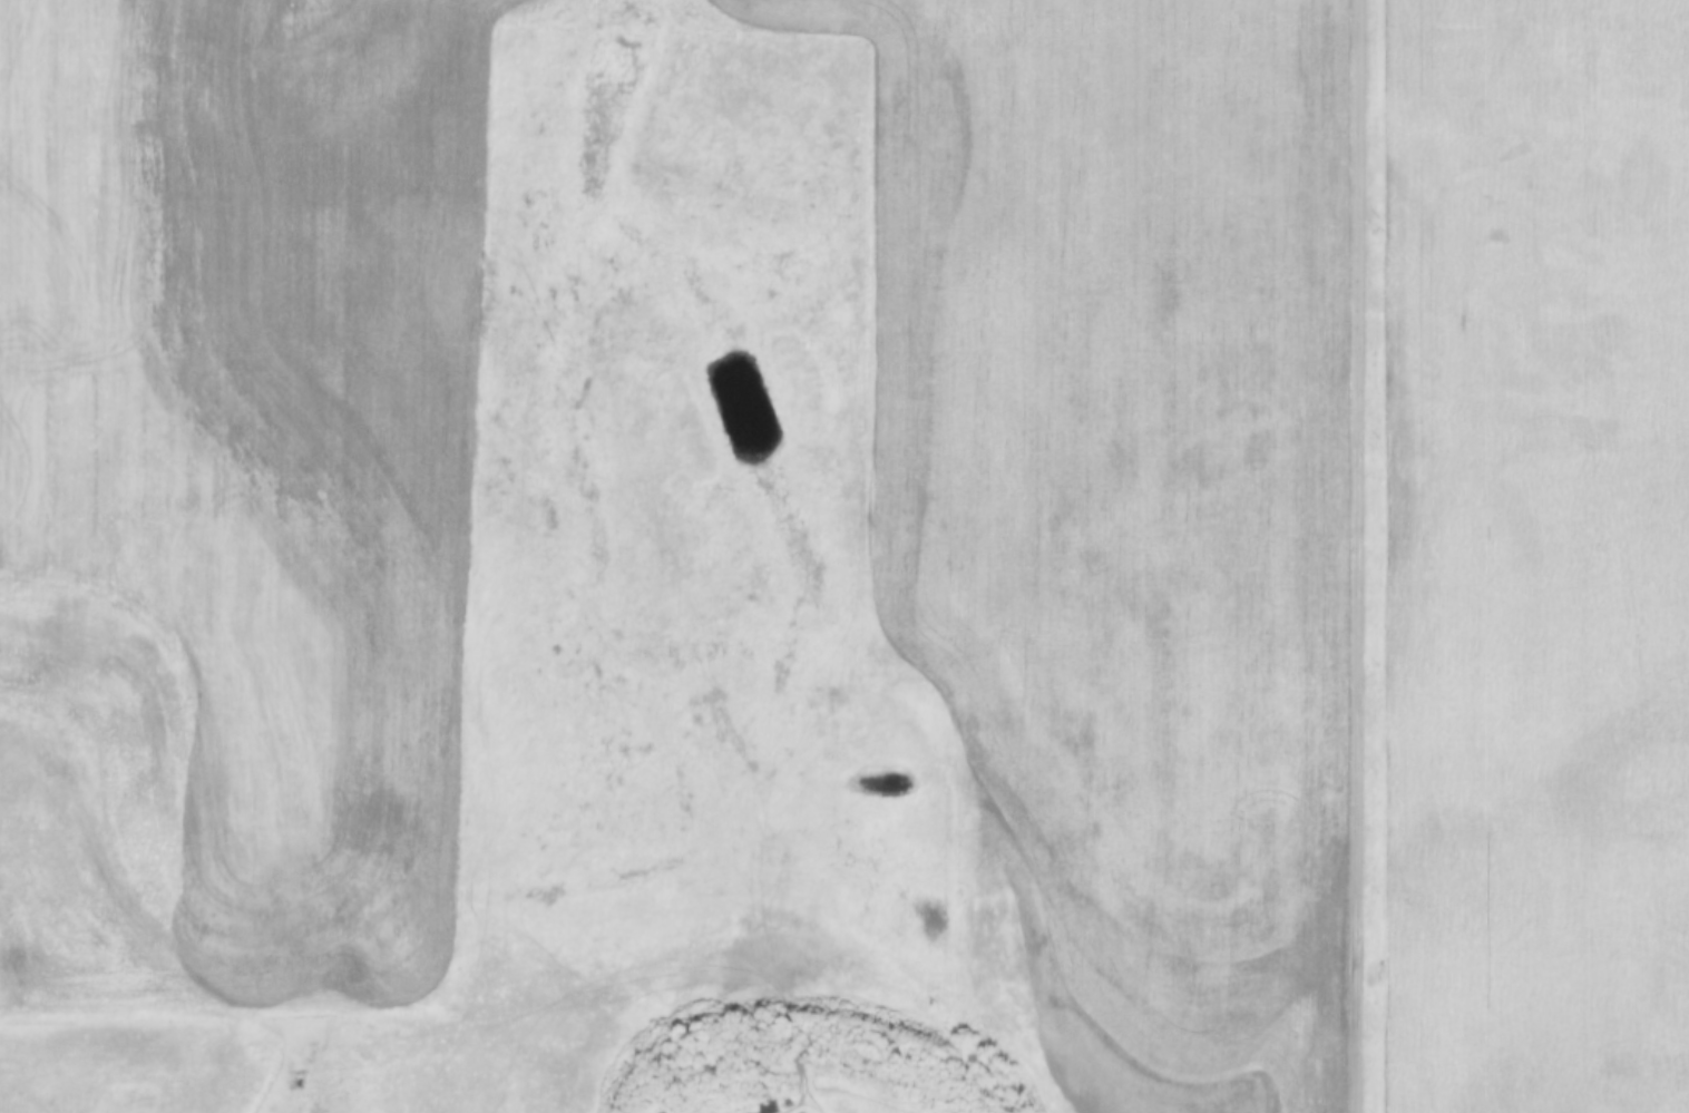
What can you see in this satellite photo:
road: (225, 1012)
building: (774, 1107)

